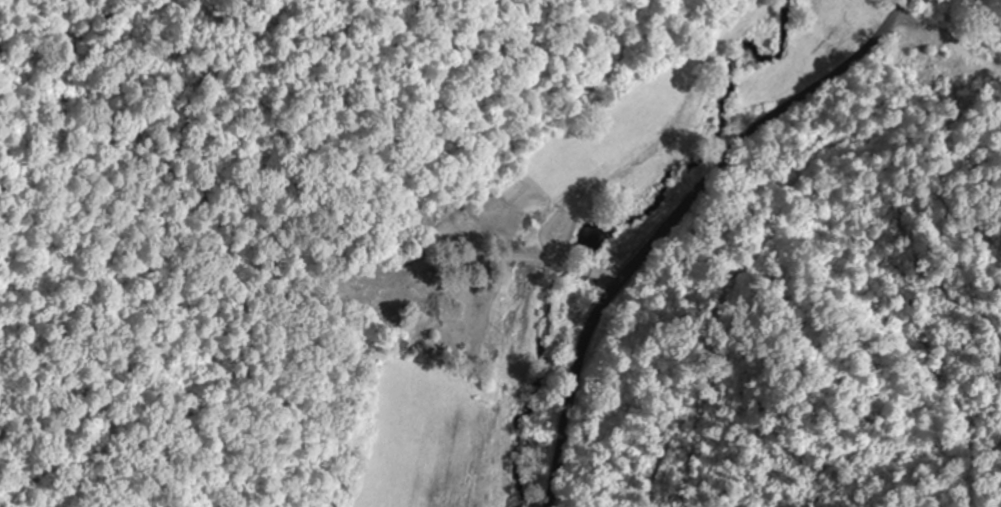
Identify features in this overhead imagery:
road: (671, 220)

